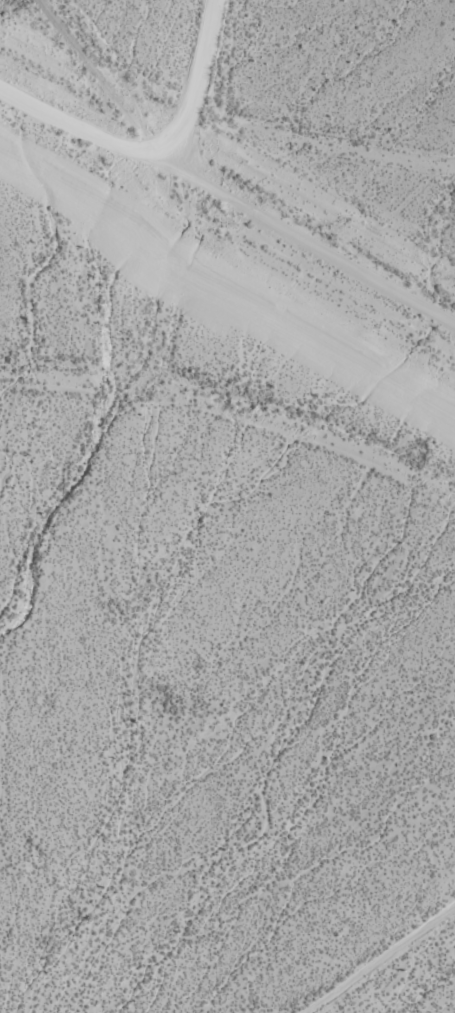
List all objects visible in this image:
road: (106, 78)
road: (85, 124)
road: (321, 138)
road: (163, 203)
road: (315, 234)
road: (235, 417)

